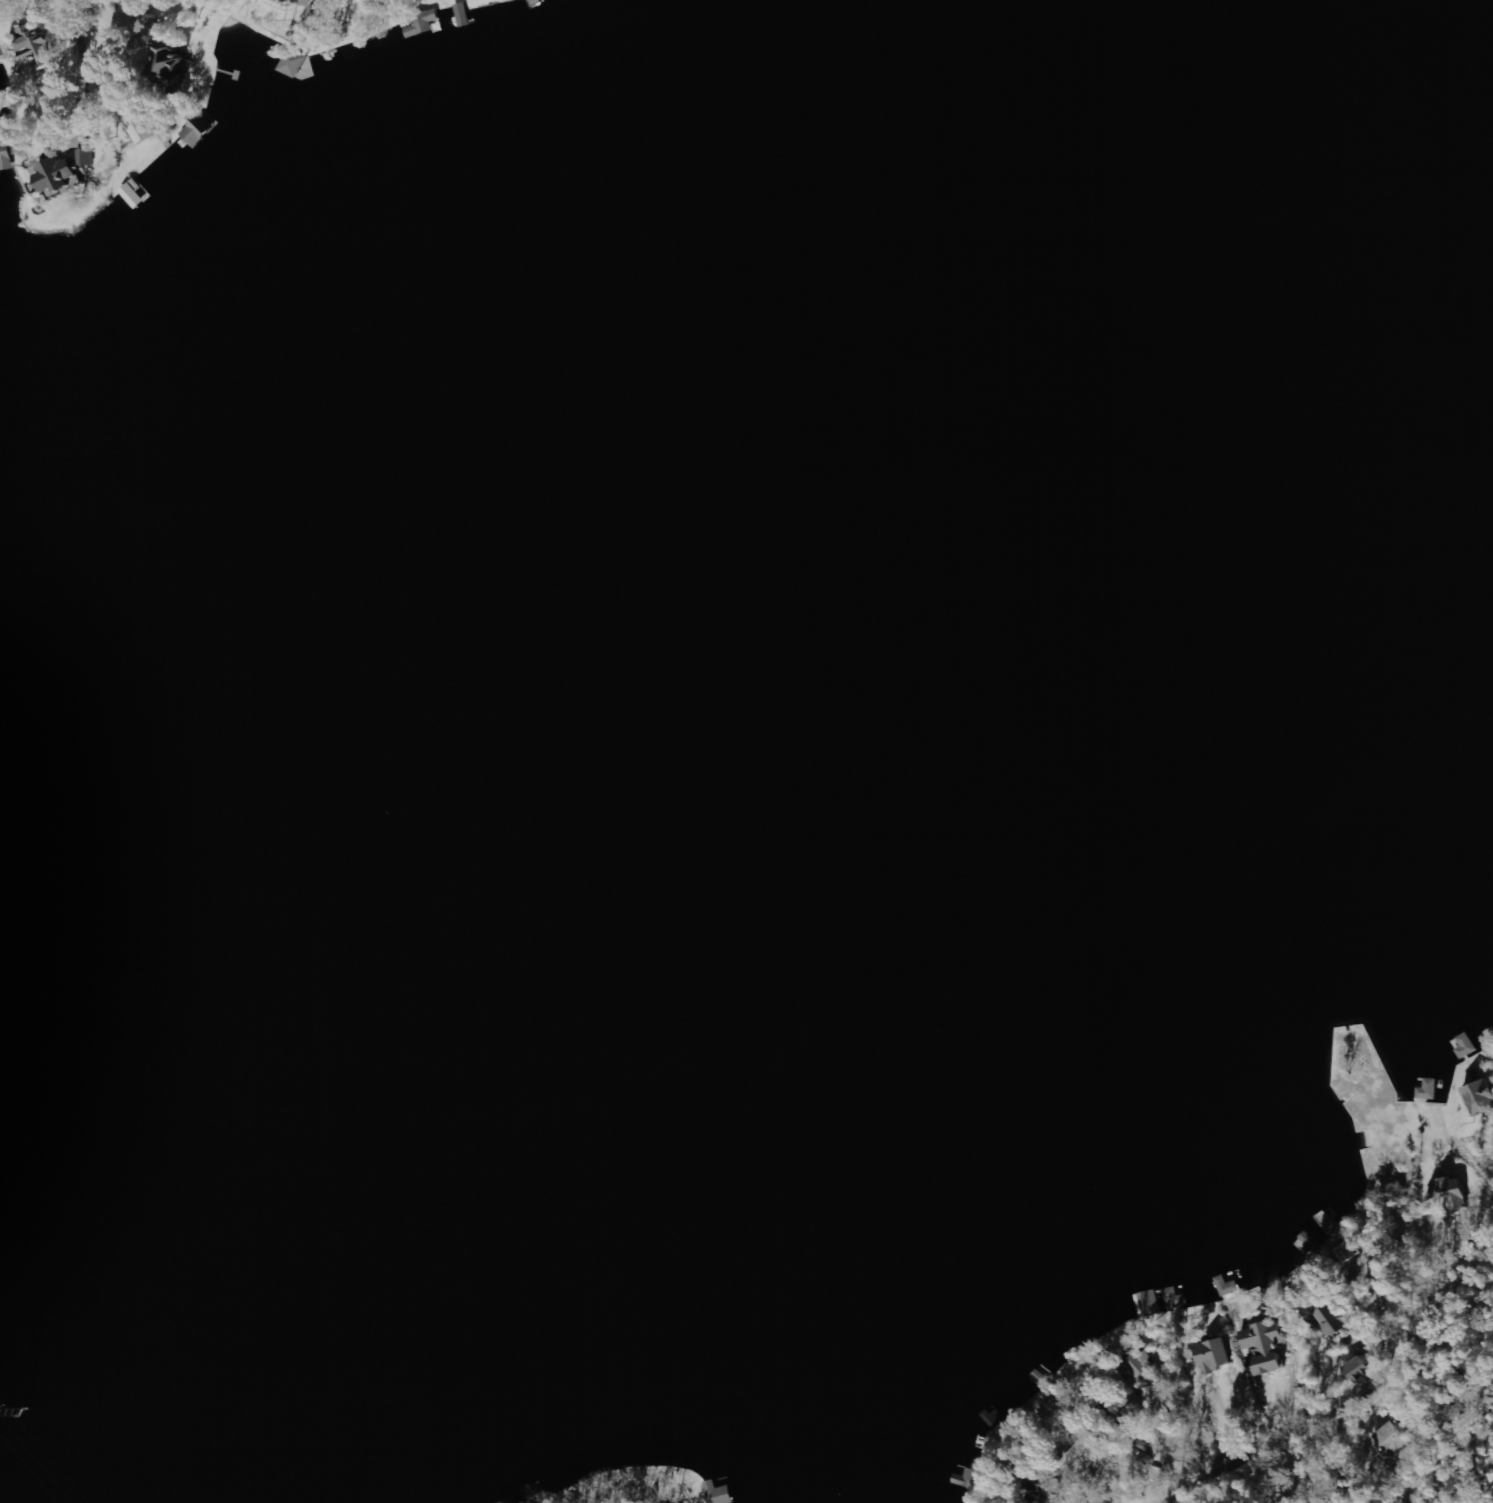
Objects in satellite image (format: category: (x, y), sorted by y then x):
building: (421, 24)
building: (36, 43)
building: (0, 59)
building: (170, 63)
road: (174, 63)
road: (168, 75)
building: (143, 128)
building: (90, 157)
building: (59, 177)
building: (1429, 1090)
building: (1480, 1097)
building: (1445, 1194)
building: (1227, 1286)
building: (1164, 1301)
building: (1326, 1323)
building: (1263, 1347)
building: (1214, 1355)
building: (1138, 1366)
building: (1358, 1370)
road: (1355, 1406)
building: (1394, 1439)
building: (719, 1493)
building: (510, 1501)

